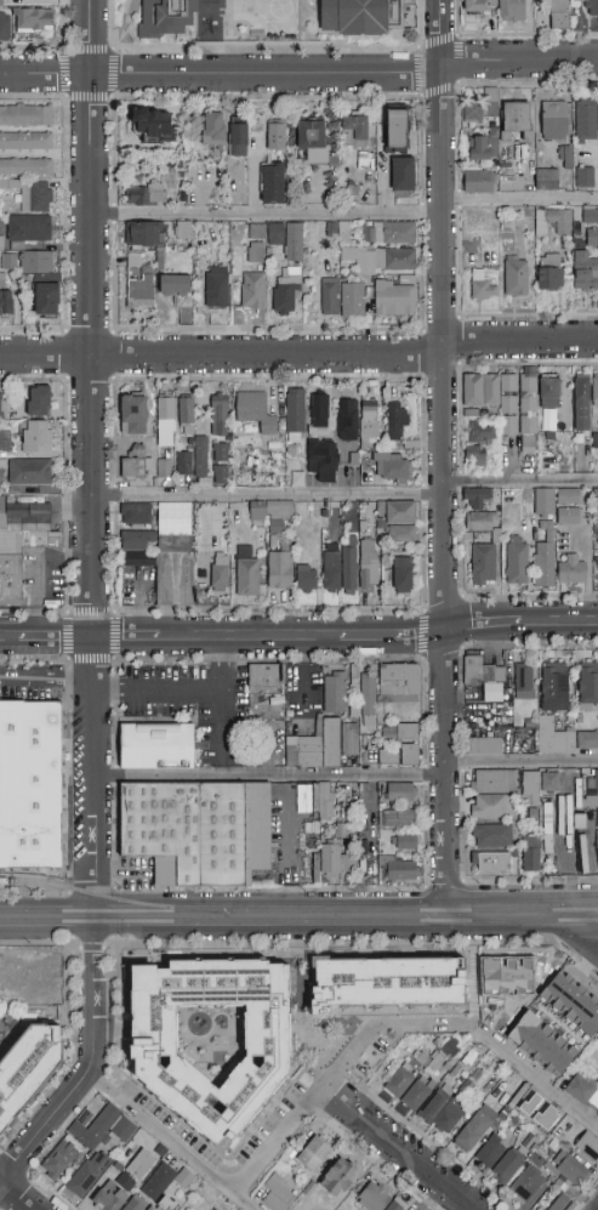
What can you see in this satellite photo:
building: (0, 1)
building: (479, 6)
building: (592, 8)
building: (512, 11)
building: (559, 15)
building: (361, 16)
building: (167, 17)
building: (35, 21)
building: (4, 25)
road: (300, 73)
building: (482, 108)
building: (25, 117)
building: (517, 119)
building: (553, 120)
building: (586, 120)
building: (152, 123)
building: (212, 129)
building: (387, 129)
building: (398, 129)
building: (354, 131)
building: (238, 137)
building: (277, 137)
building: (25, 141)
building: (312, 141)
building: (483, 147)
building: (563, 154)
building: (365, 160)
building: (25, 167)
building: (401, 174)
road: (442, 174)
building: (273, 177)
building: (585, 177)
building: (546, 180)
building: (480, 182)
building: (146, 195)
building: (35, 197)
road: (520, 199)
road: (267, 214)
building: (590, 216)
building: (557, 221)
building: (29, 228)
building: (182, 231)
building: (256, 232)
building: (389, 232)
building: (144, 234)
building: (286, 239)
building: (593, 239)
building: (256, 252)
building: (370, 254)
building: (133, 261)
building: (36, 262)
building: (549, 273)
building: (586, 273)
building: (516, 275)
building: (175, 285)
building: (216, 286)
building: (482, 286)
building: (254, 291)
building: (139, 292)
building: (286, 292)
building: (395, 297)
building: (341, 299)
building: (5, 300)
building: (47, 300)
road: (298, 352)
building: (596, 390)
building: (549, 393)
building: (492, 396)
building: (40, 402)
building: (582, 403)
building: (528, 404)
building: (4, 405)
building: (255, 411)
building: (187, 415)
building: (220, 415)
building: (295, 415)
building: (318, 415)
building: (133, 416)
building: (347, 420)
building: (397, 420)
building: (369, 421)
building: (165, 422)
building: (483, 432)
building: (36, 437)
building: (5, 441)
building: (597, 441)
building: (221, 453)
building: (473, 456)
building: (321, 458)
road: (95, 459)
building: (194, 459)
building: (391, 466)
building: (137, 467)
building: (165, 467)
building: (1, 472)
building: (30, 472)
building: (221, 476)
road: (520, 481)
road: (269, 493)
building: (570, 496)
building: (478, 499)
building: (543, 501)
building: (270, 511)
building: (400, 512)
building: (136, 515)
building: (569, 516)
building: (479, 522)
building: (401, 534)
building: (21, 549)
building: (166, 553)
building: (517, 561)
building: (545, 561)
building: (483, 563)
building: (369, 564)
building: (280, 567)
building: (340, 569)
building: (571, 569)
building: (220, 573)
building: (403, 574)
building: (249, 576)
building: (306, 578)
road: (563, 621)
road: (488, 624)
road: (448, 632)
road: (393, 637)
road: (249, 638)
road: (8, 640)
road: (57, 640)
traffic signals: (97, 640)
road: (129, 640)
road: (47, 676)
building: (354, 676)
road: (297, 677)
building: (484, 677)
building: (264, 682)
building: (524, 682)
building: (399, 683)
building: (554, 687)
building: (588, 687)
road: (222, 694)
building: (335, 694)
road: (159, 697)
building: (368, 701)
building: (528, 725)
building: (408, 732)
building: (554, 738)
building: (587, 740)
building: (320, 745)
building: (349, 745)
building: (484, 745)
building: (156, 748)
building: (410, 754)
building: (388, 757)
road: (523, 761)
road: (272, 777)
building: (590, 779)
building: (494, 782)
building: (549, 782)
building: (25, 783)
building: (531, 789)
building: (400, 791)
building: (308, 799)
building: (591, 801)
building: (325, 802)
building: (489, 807)
building: (534, 814)
building: (562, 816)
building: (400, 818)
building: (257, 829)
building: (312, 829)
building: (186, 831)
building: (341, 831)
building: (492, 836)
building: (596, 837)
building: (383, 839)
building: (404, 842)
building: (516, 854)
building: (531, 856)
building: (491, 860)
building: (336, 862)
building: (399, 869)
railway: (298, 913)
road: (582, 916)
road: (272, 918)
road: (507, 918)
road: (47, 919)
railway: (298, 922)
road: (581, 930)
building: (386, 982)
road: (96, 1000)
building: (566, 1001)
building: (211, 1039)
building: (422, 1058)
building: (450, 1063)
building: (438, 1064)
building: (27, 1068)
road: (336, 1070)
road: (535, 1075)
building: (400, 1081)
building: (583, 1091)
building: (418, 1093)
building: (434, 1104)
building: (596, 1112)
building: (449, 1117)
building: (514, 1120)
building: (480, 1126)
building: (96, 1127)
building: (124, 1129)
building: (518, 1129)
road: (44, 1132)
road: (172, 1143)
building: (529, 1143)
building: (113, 1146)
building: (588, 1146)
road: (397, 1148)
building: (160, 1151)
building: (491, 1151)
building: (314, 1154)
building: (62, 1157)
building: (289, 1157)
building: (536, 1160)
building: (141, 1164)
building: (509, 1165)
building: (551, 1169)
building: (574, 1170)
building: (87, 1174)
building: (109, 1176)
building: (338, 1177)
building: (184, 1178)
building: (551, 1178)
building: (124, 1182)
building: (159, 1182)
building: (526, 1183)
building: (563, 1183)
building: (280, 1193)
building: (306, 1195)
road: (15, 1198)
building: (110, 1198)
building: (374, 1198)
building: (563, 1203)
building: (136, 1204)
building: (165, 1204)
building: (394, 1206)

